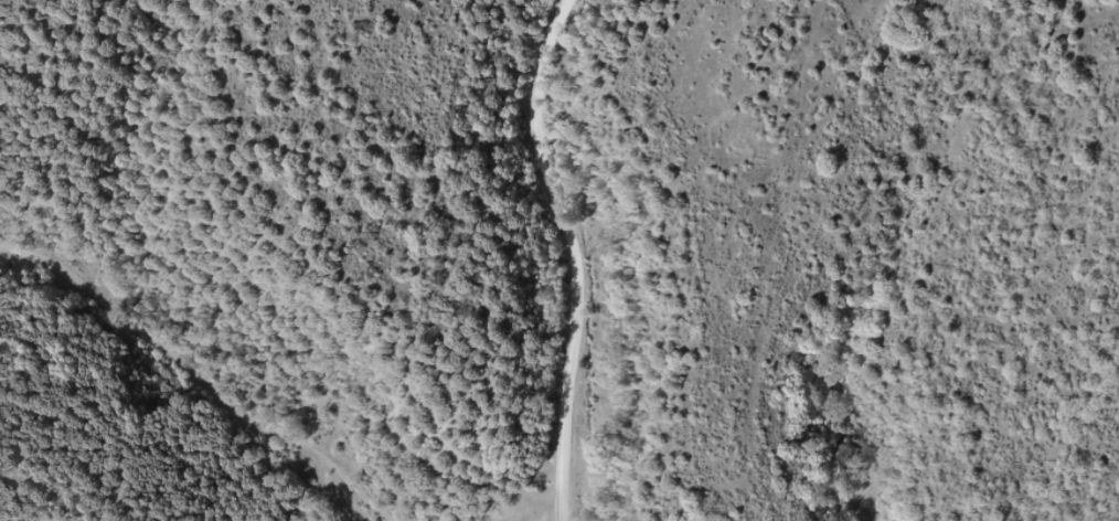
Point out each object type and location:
road: (558, 241)
road: (182, 413)

